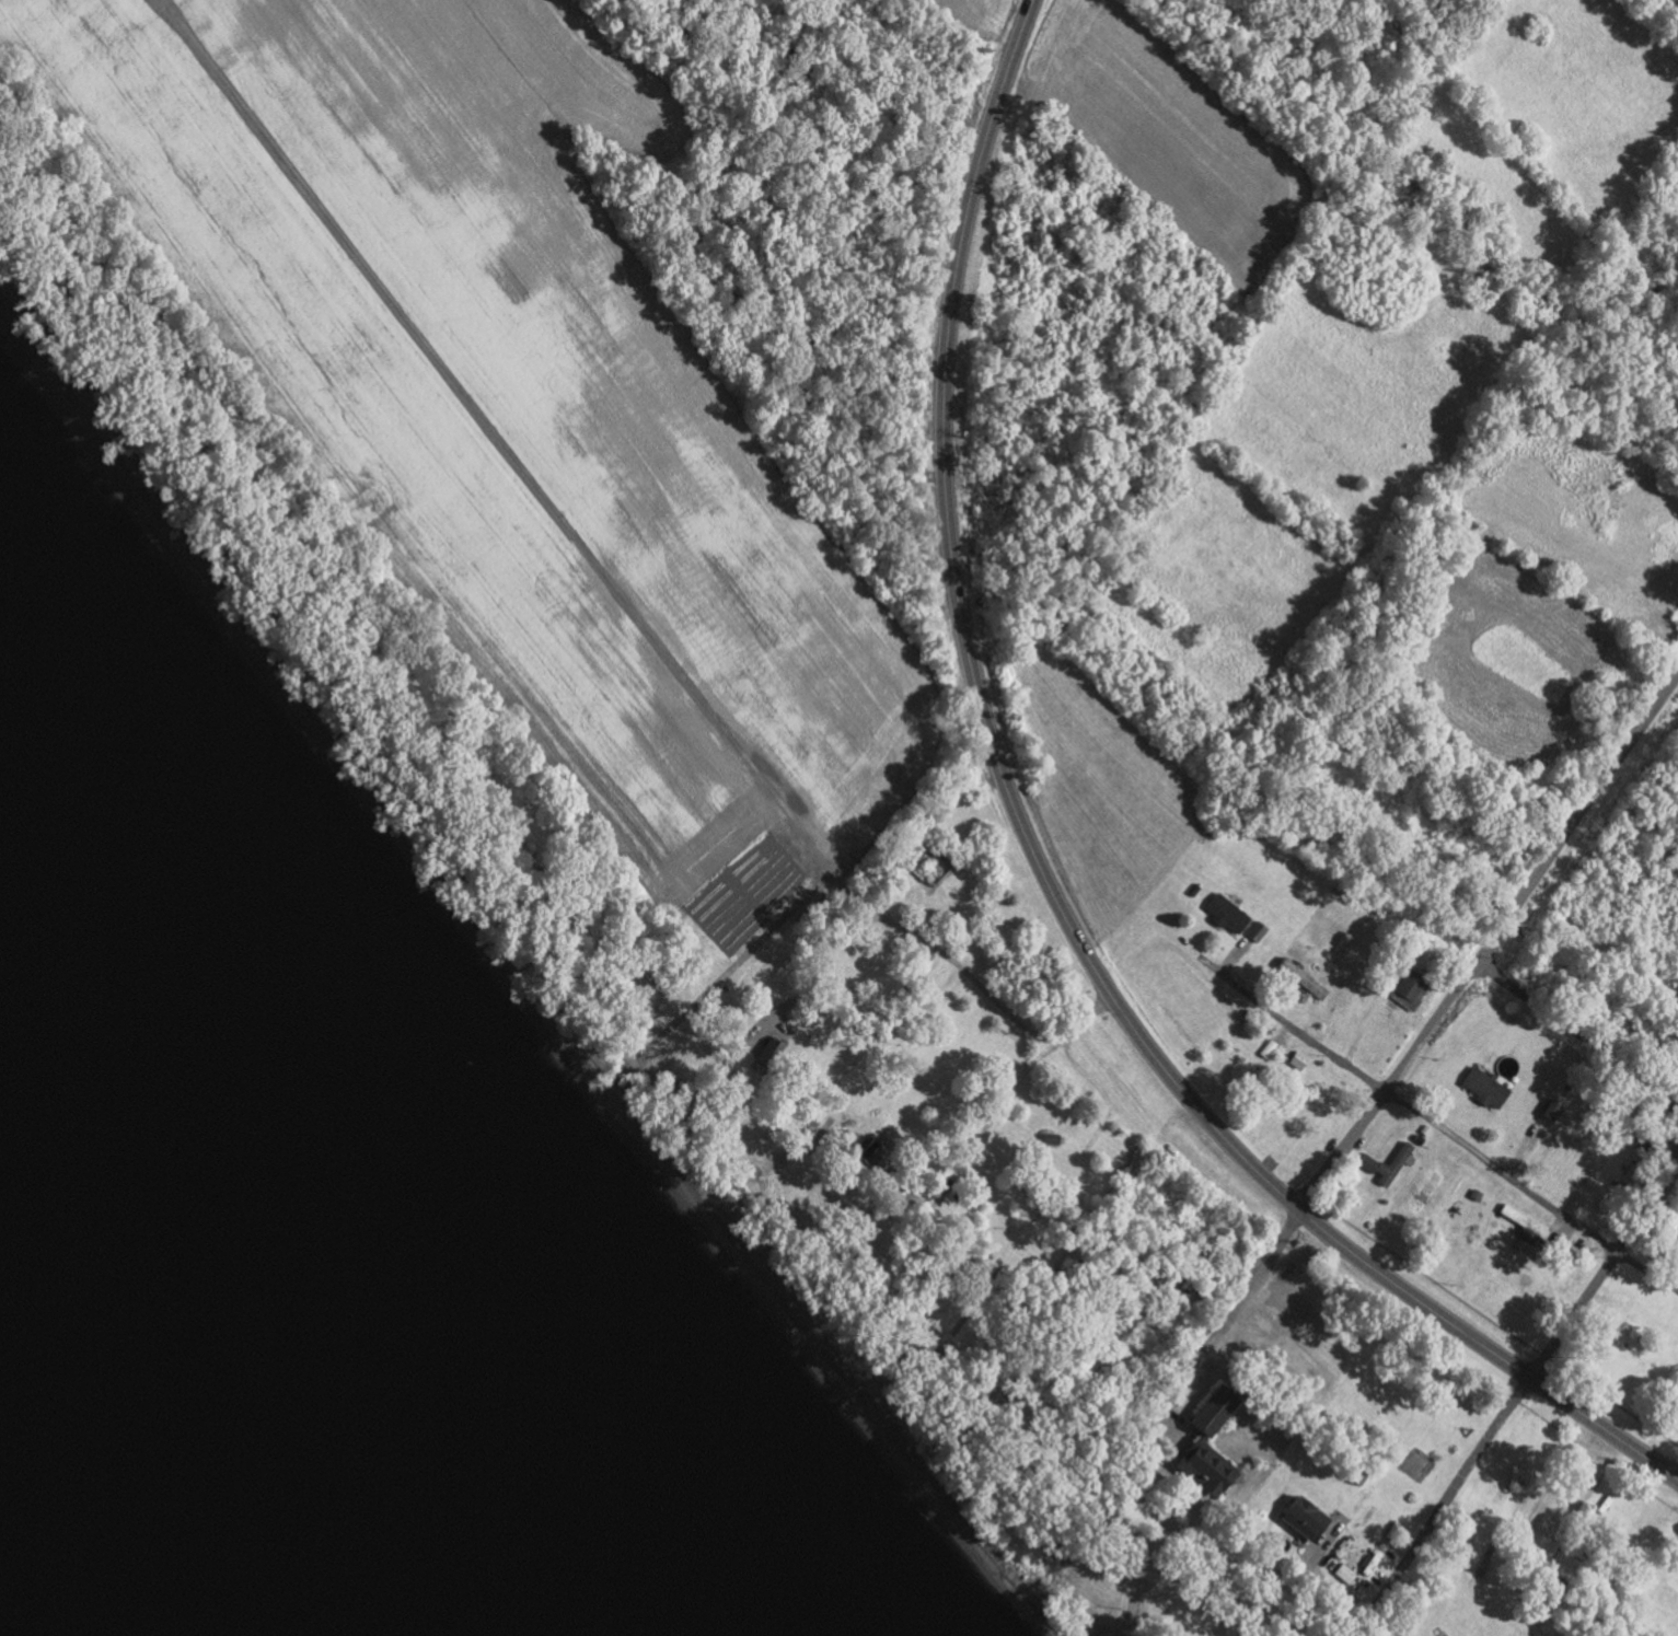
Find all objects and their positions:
road: (945, 351)
crop: (509, 396)
building: (1224, 914)
road: (1490, 943)
road: (951, 967)
building: (1298, 978)
building: (1402, 983)
road: (1282, 1023)
road: (1579, 1035)
building: (1266, 1048)
building: (1296, 1060)
building: (1482, 1088)
building: (1549, 1111)
building: (859, 1146)
building: (1365, 1162)
building: (1390, 1162)
road: (1249, 1164)
road: (1532, 1190)
building: (1520, 1221)
road: (1226, 1325)
road: (1524, 1388)
building: (1207, 1413)
river: (195, 1414)
building: (1200, 1469)
building: (1298, 1519)
road: (1141, 1536)
building: (1342, 1574)
road: (1294, 1577)
road: (1336, 1589)

